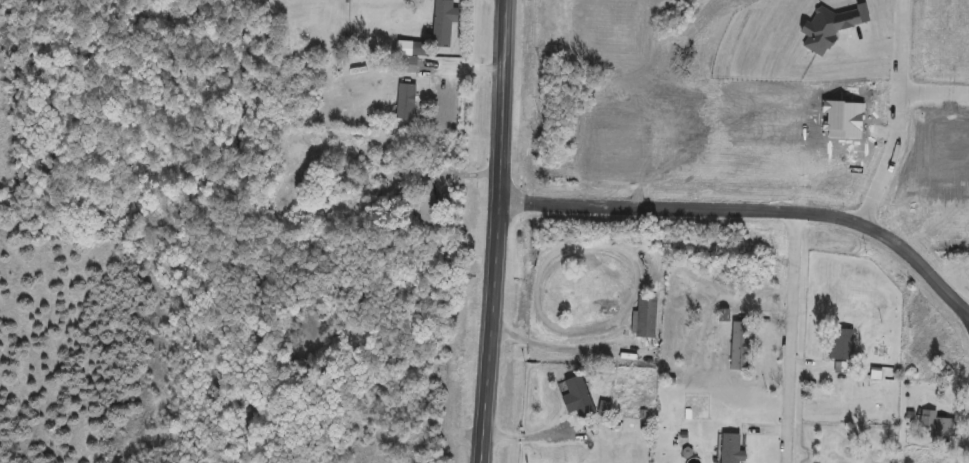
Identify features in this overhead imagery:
building: (443, 23)
building: (415, 57)
road: (934, 89)
road: (898, 114)
building: (427, 205)
road: (753, 206)
road: (496, 231)
building: (645, 318)
road: (790, 336)
building: (841, 344)
building: (741, 346)
road: (555, 347)
building: (578, 398)
building: (936, 423)
road: (532, 436)
building: (731, 448)

